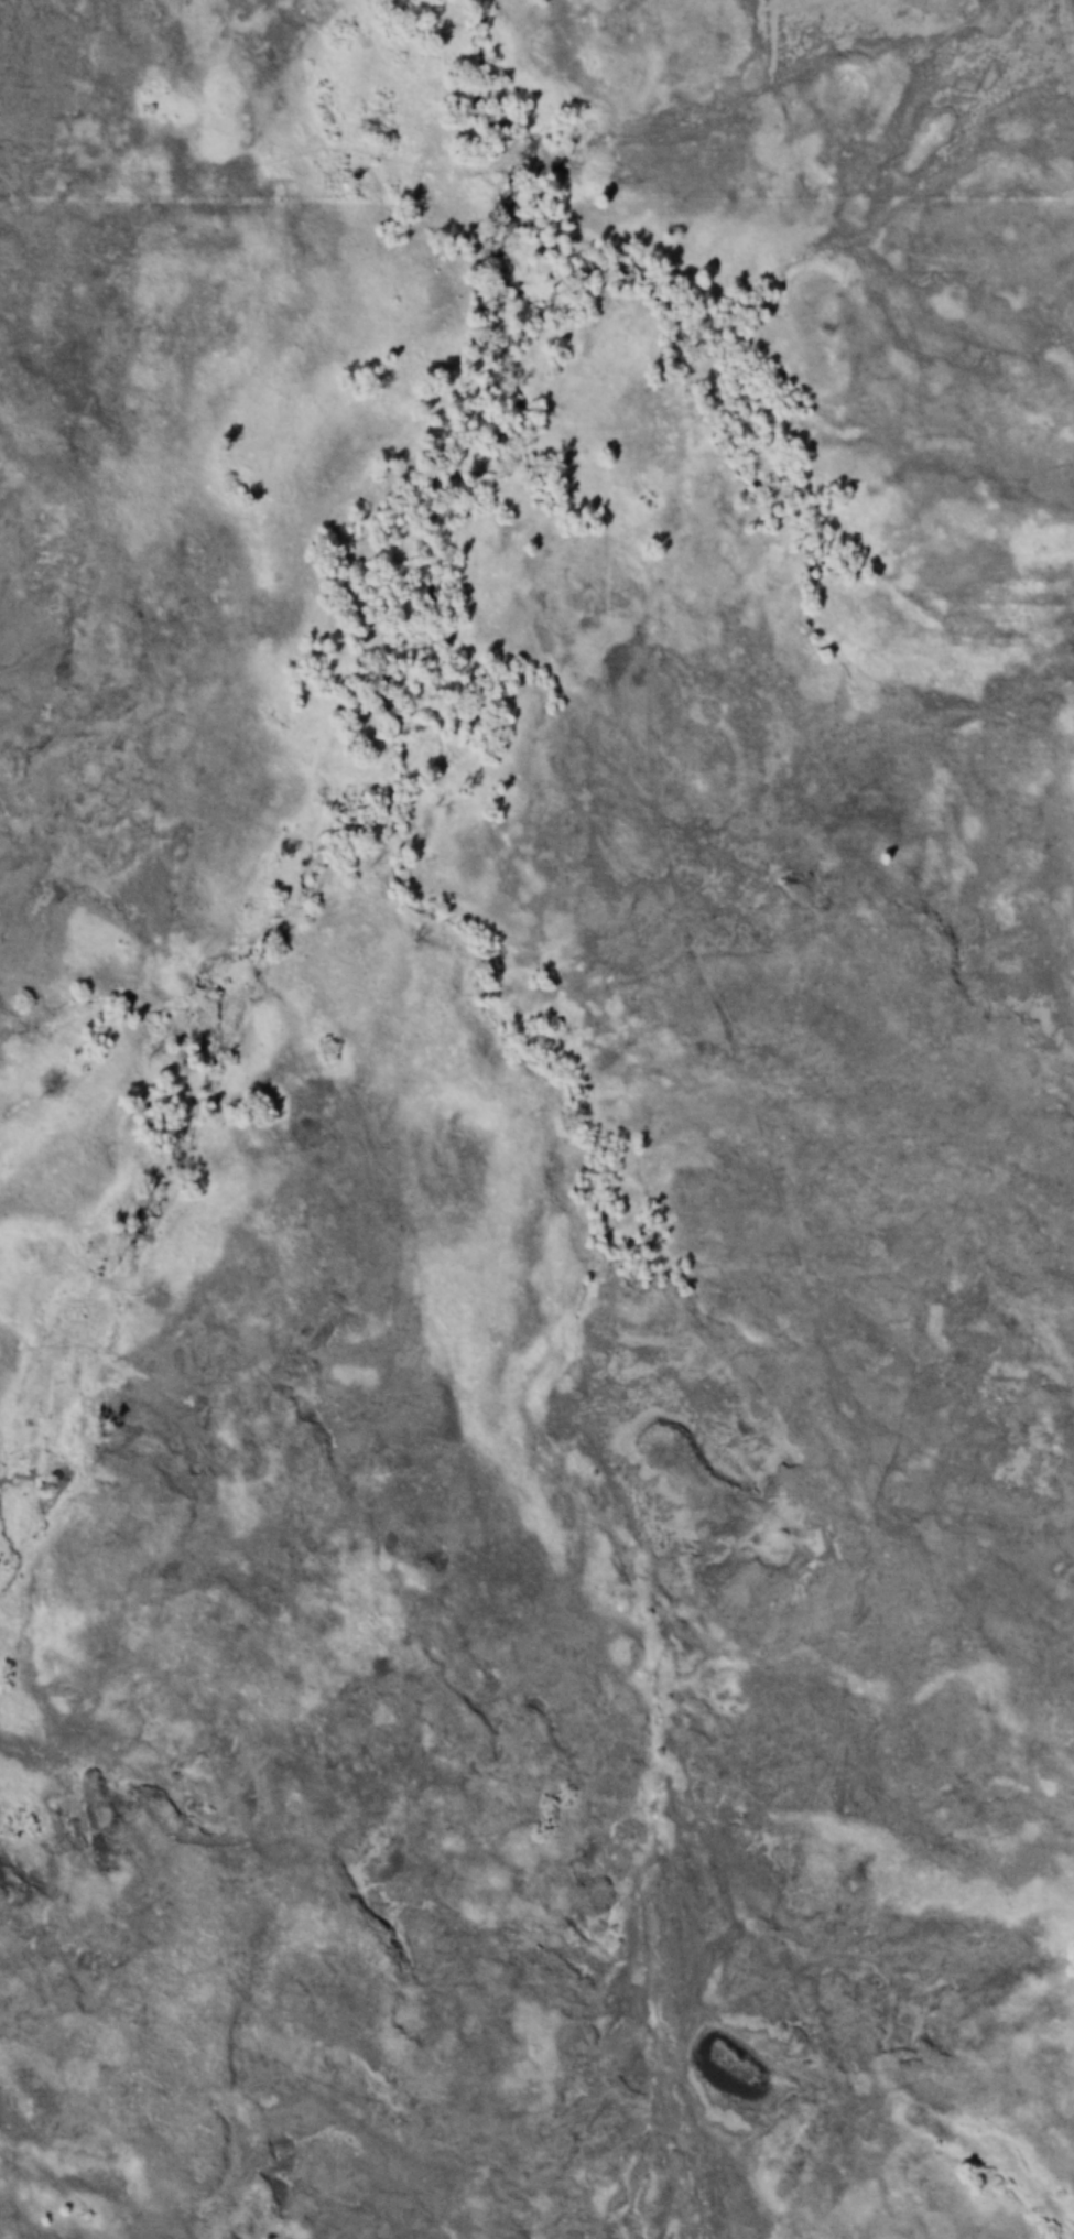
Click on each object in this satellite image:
road: (890, 332)
road: (1060, 1732)

